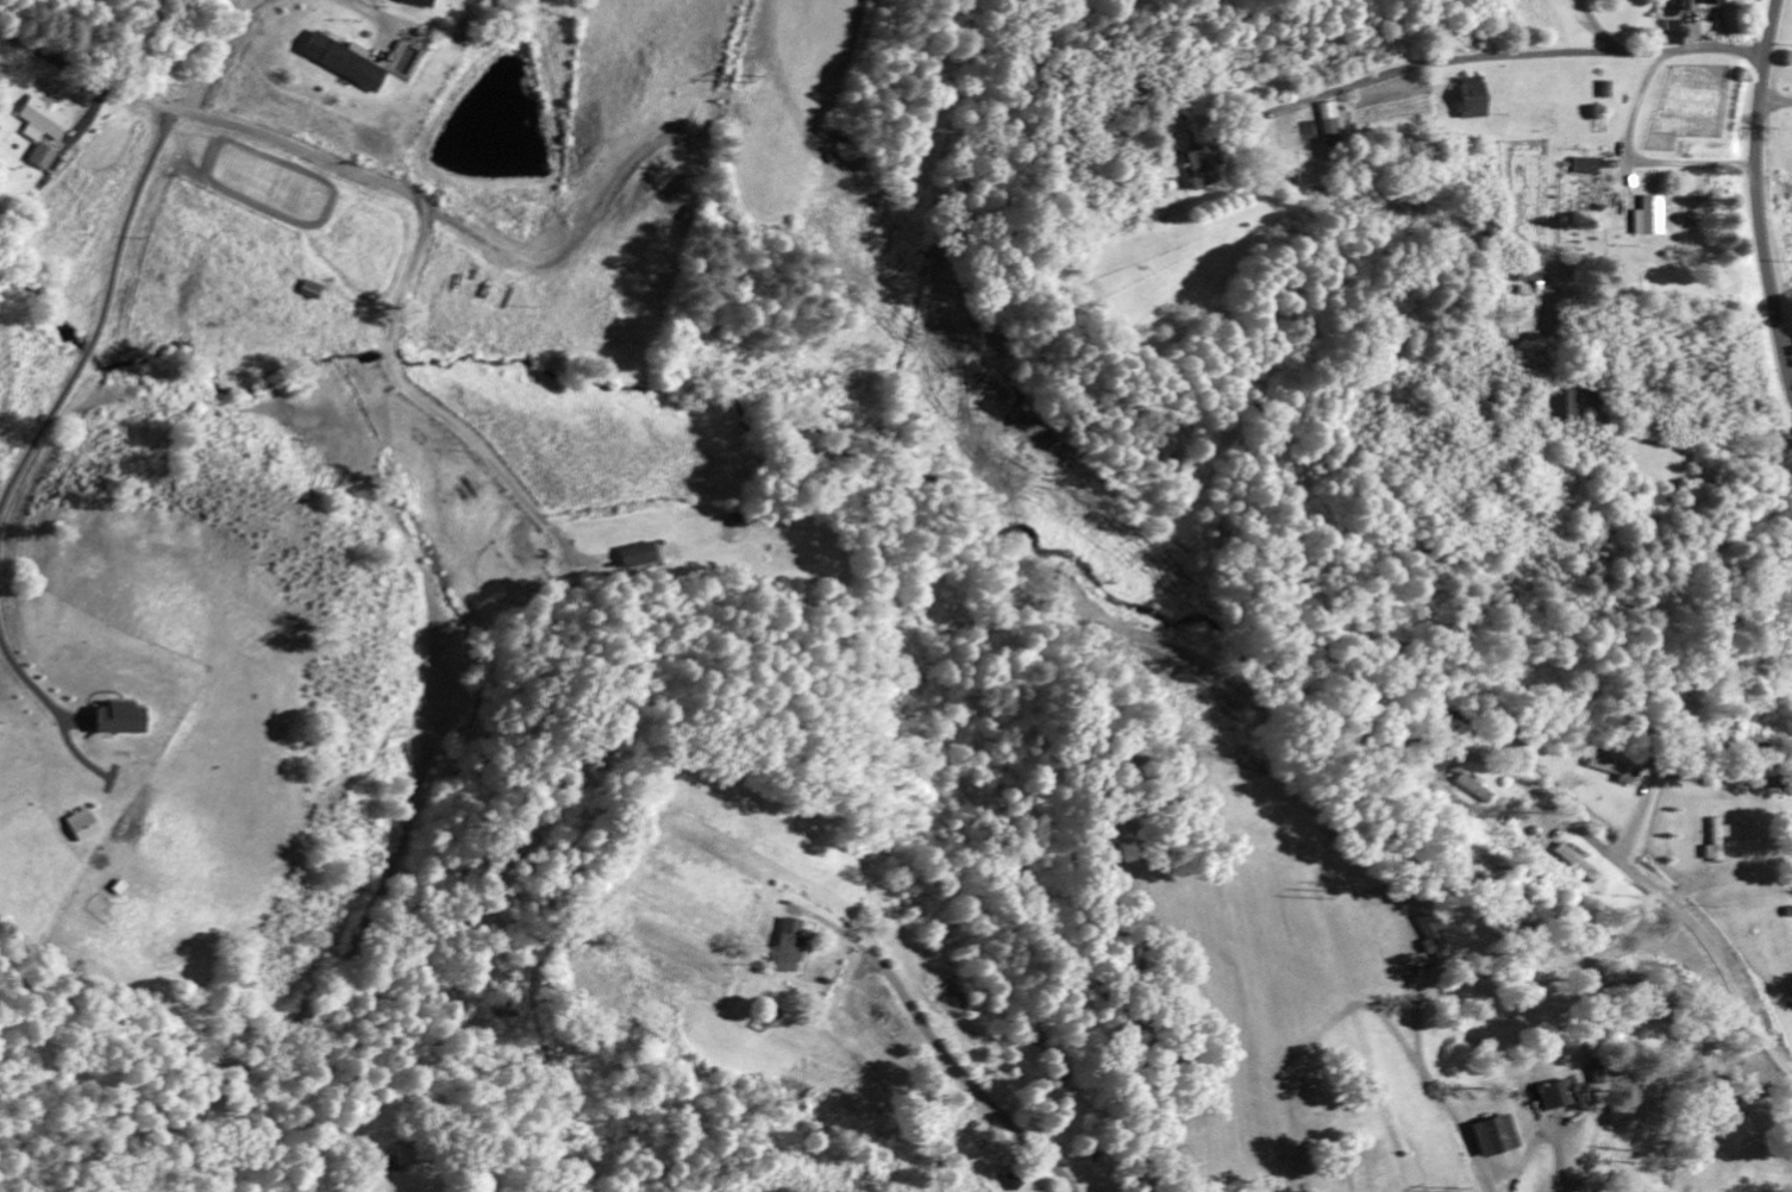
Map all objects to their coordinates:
building: (1712, 4)
building: (418, 5)
building: (1673, 37)
road: (1527, 54)
building: (343, 64)
building: (1472, 101)
building: (1329, 127)
building: (45, 134)
building: (1203, 167)
building: (1587, 169)
road: (394, 187)
road: (1756, 201)
building: (1649, 220)
building: (312, 294)
building: (1565, 406)
building: (640, 558)
building: (123, 721)
building: (1487, 797)
building: (83, 827)
building: (1717, 842)
building: (1583, 864)
road: (1679, 909)
building: (1428, 937)
building: (789, 949)
building: (1598, 1073)
road: (975, 1089)
building: (1555, 1097)
building: (1495, 1138)

